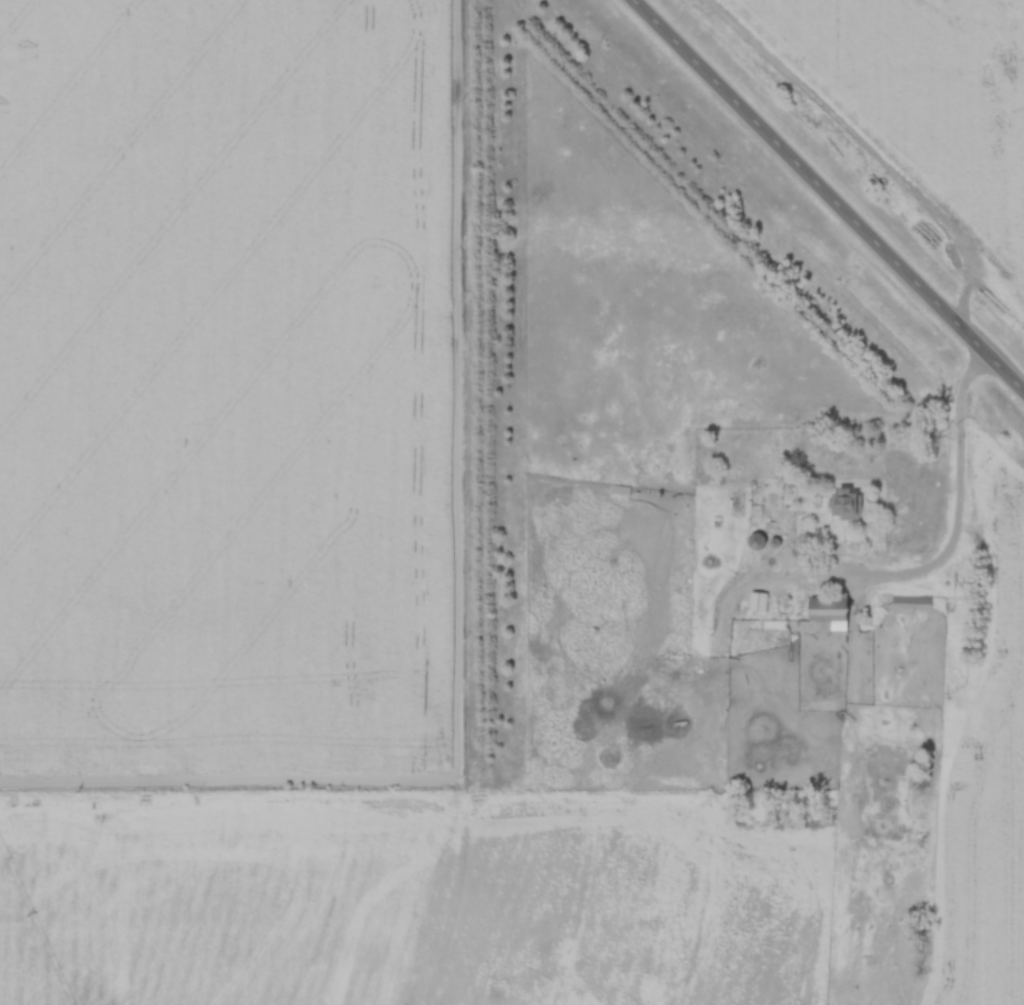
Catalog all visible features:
road: (830, 194)
building: (621, 490)
building: (846, 505)
road: (959, 512)
building: (754, 542)
building: (759, 602)
building: (913, 602)
building: (828, 611)

